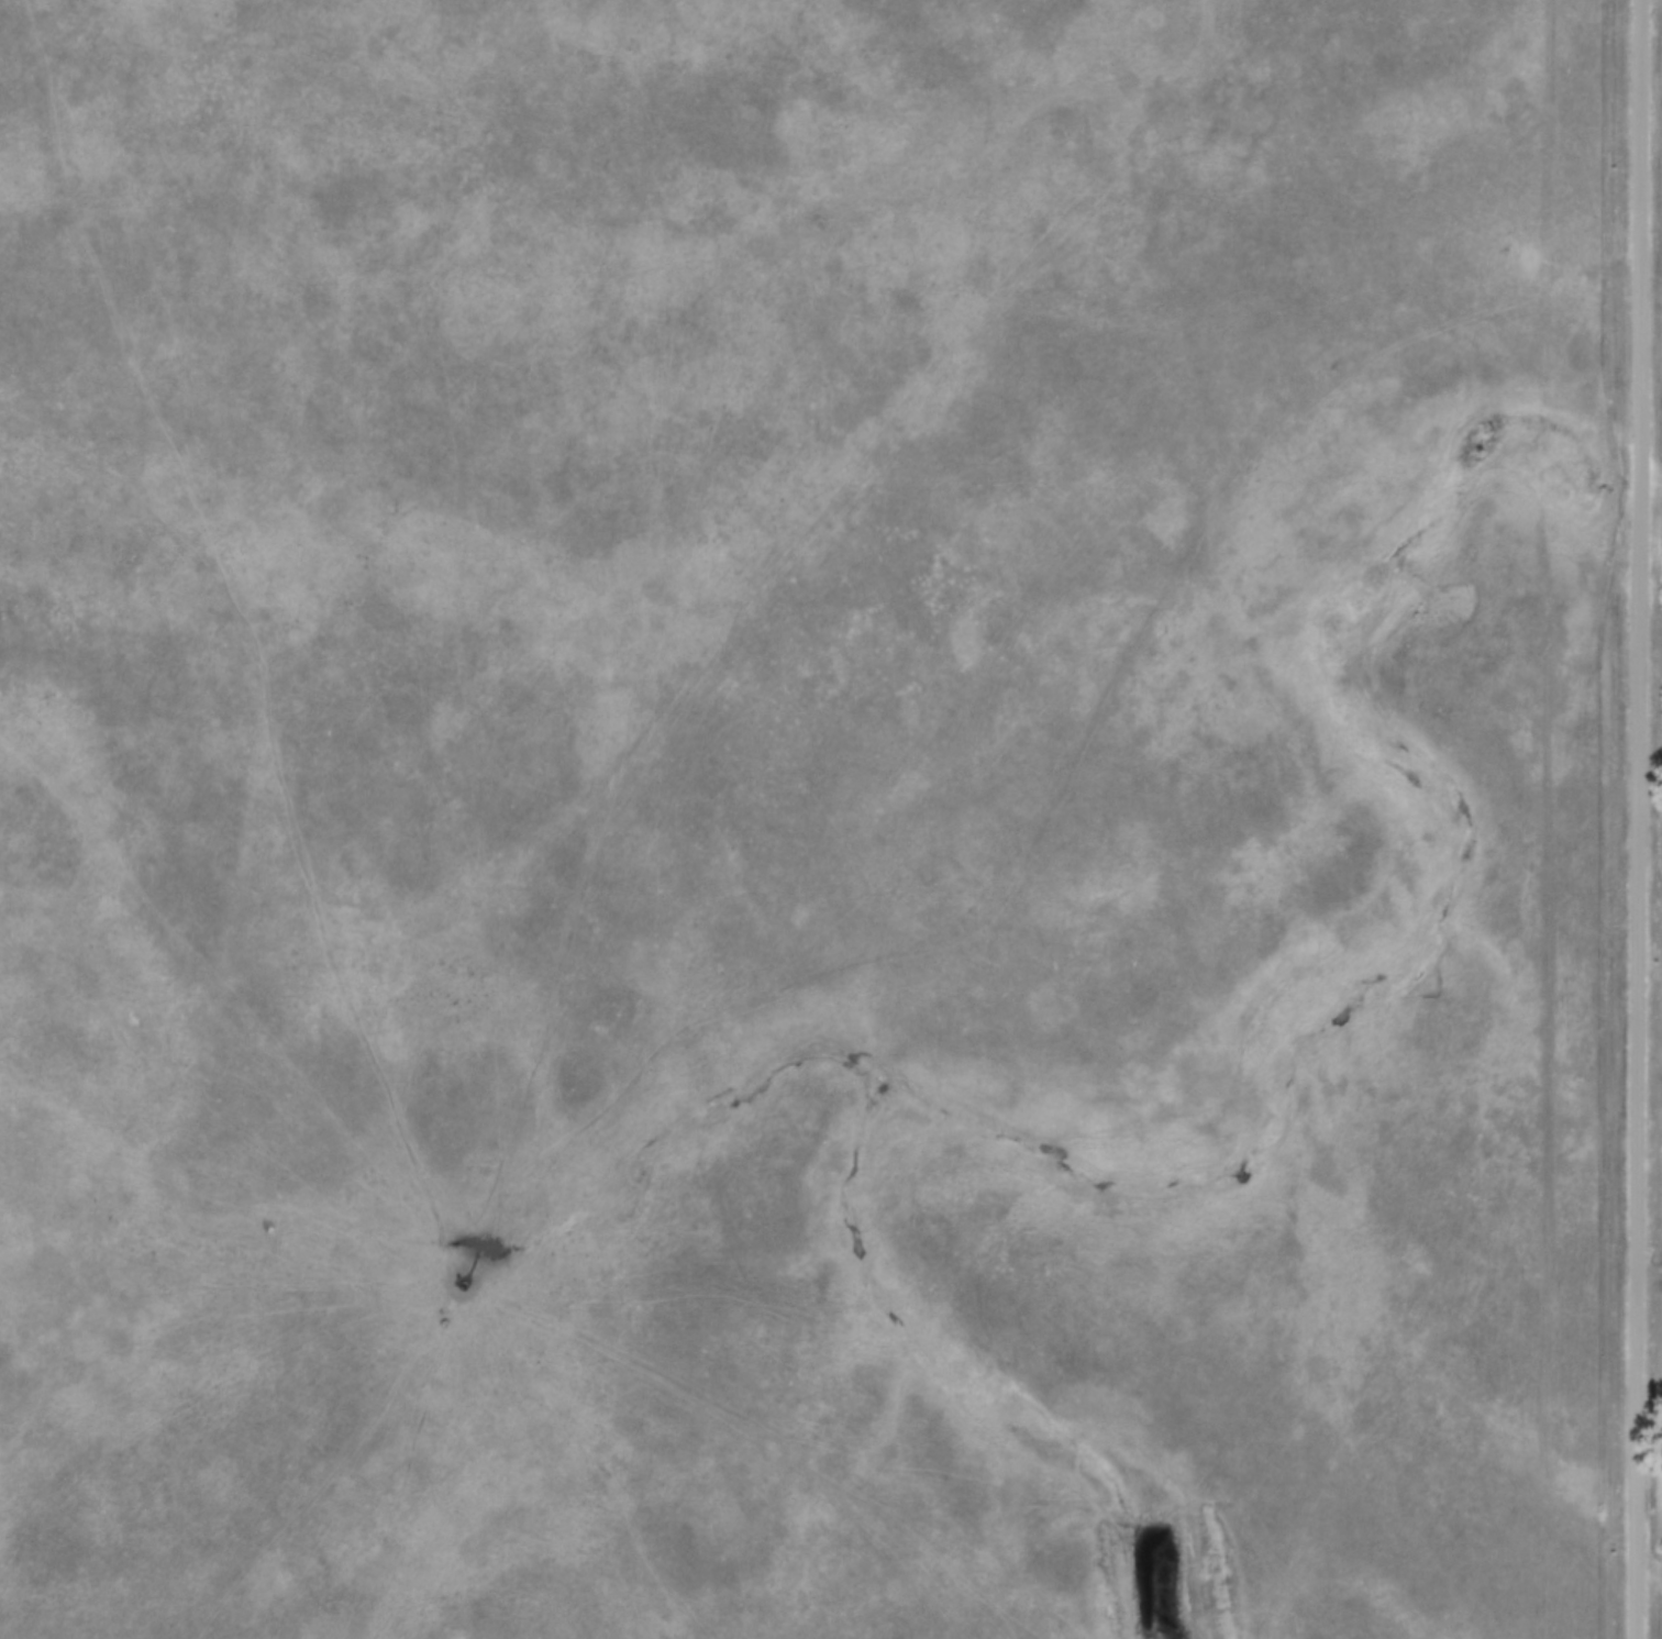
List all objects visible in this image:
road: (1641, 819)

